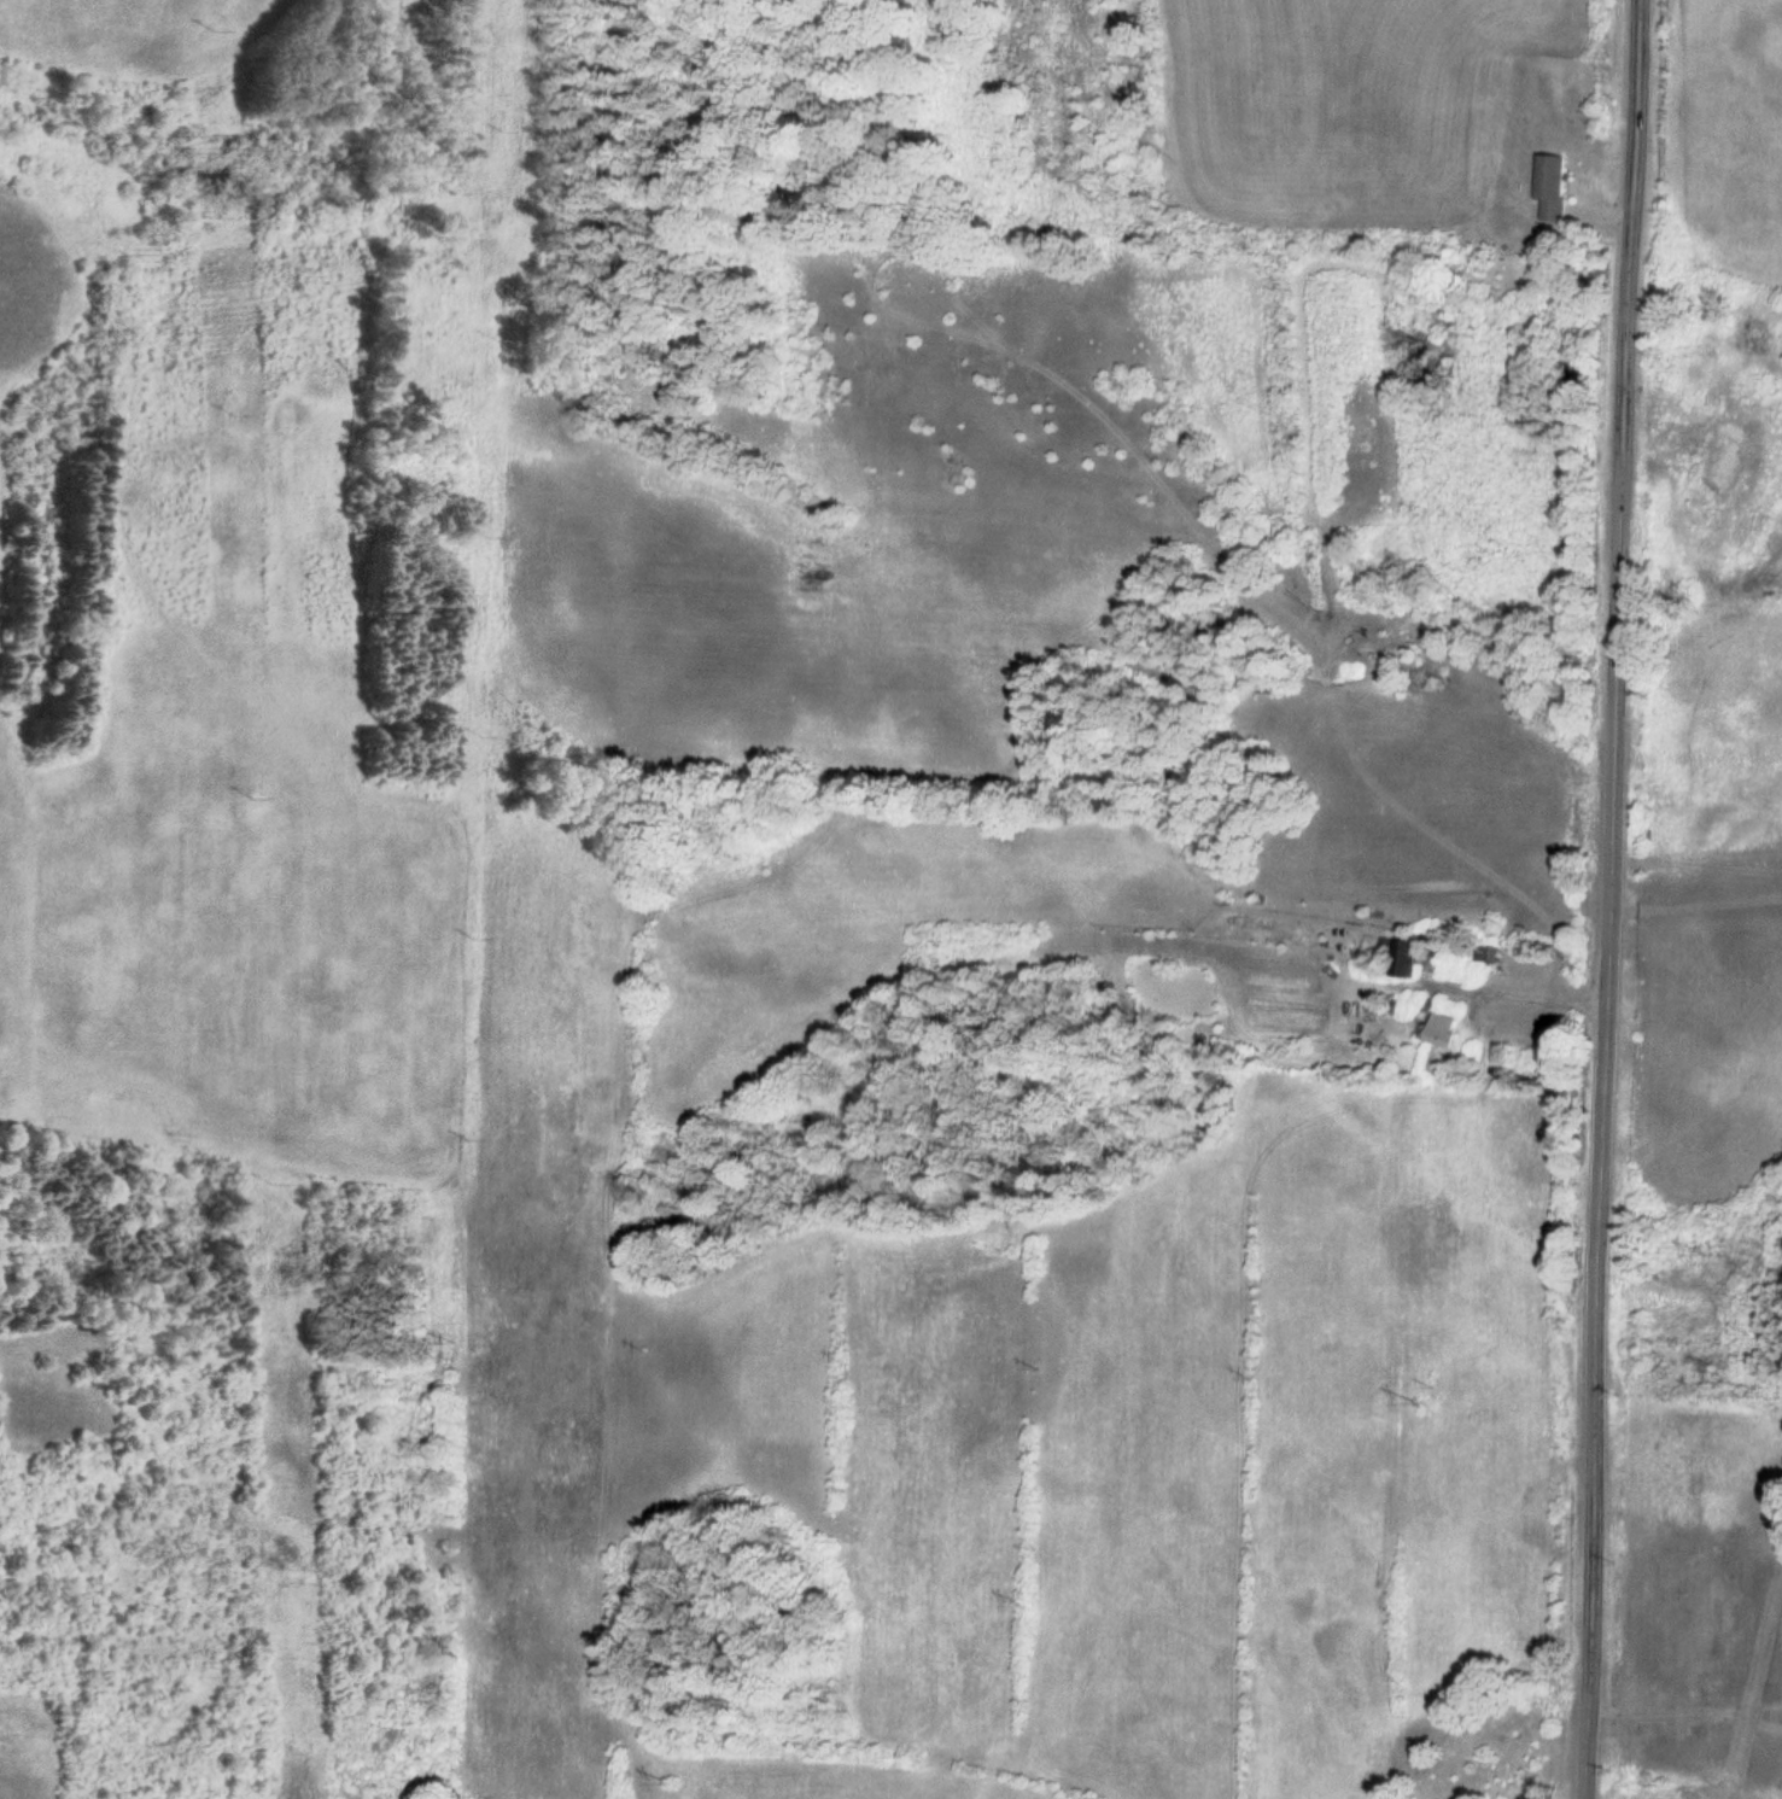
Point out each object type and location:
building: (1549, 186)
road: (1613, 899)
building: (1485, 954)
building: (1402, 958)
building: (1438, 1029)

